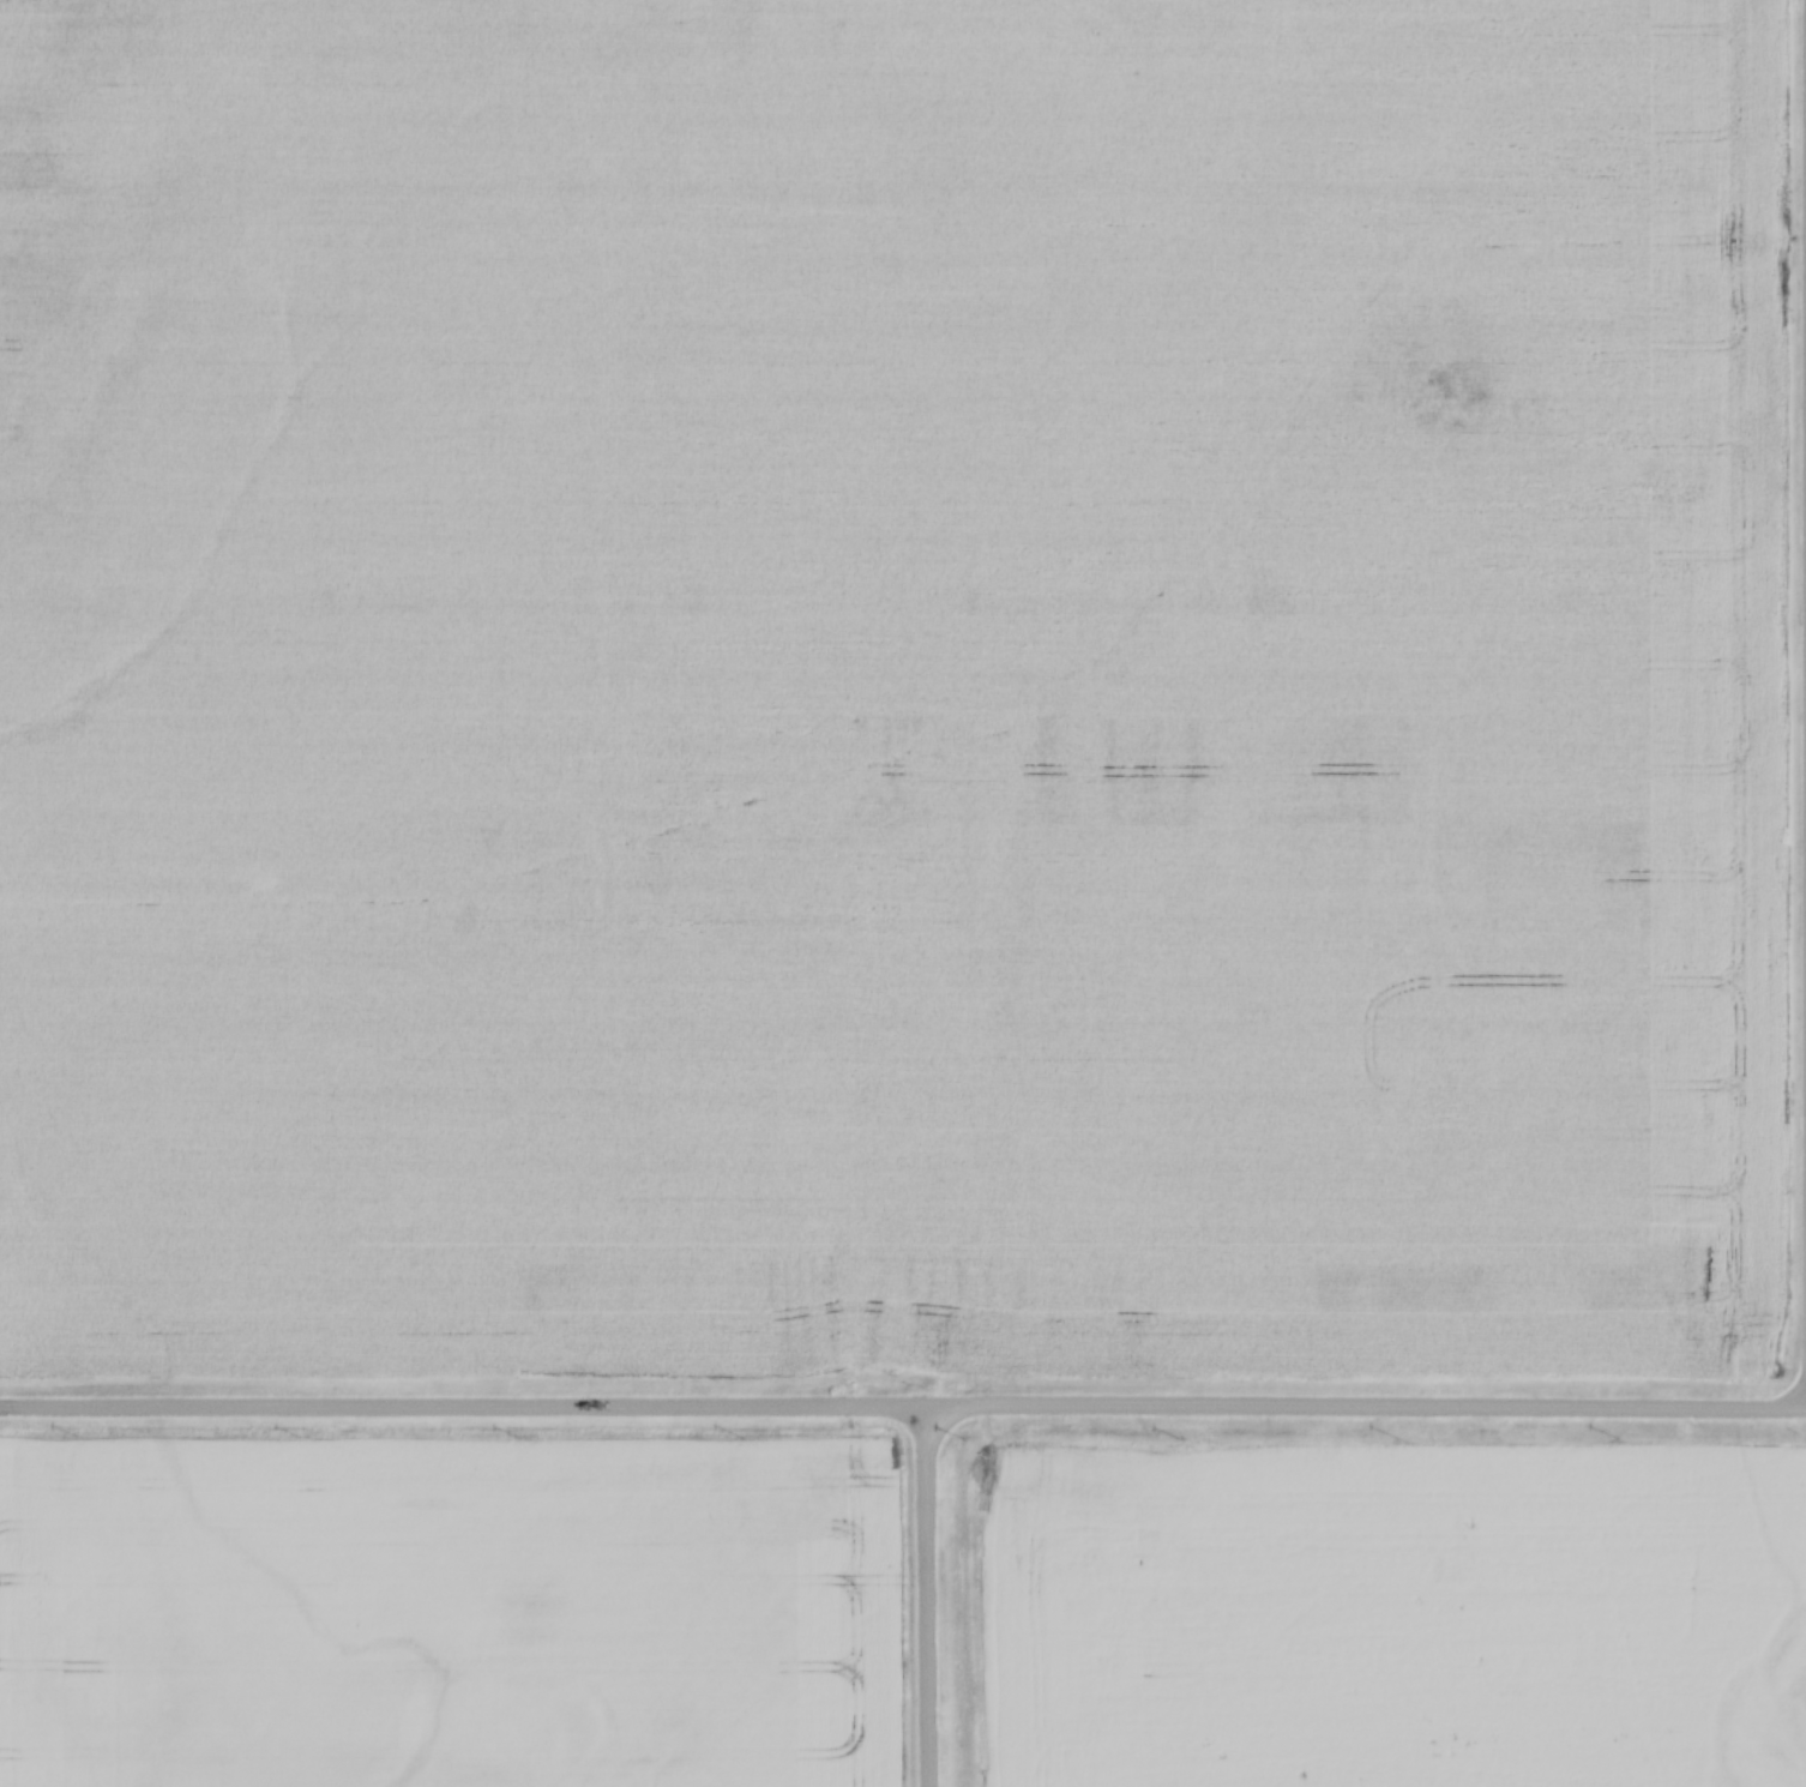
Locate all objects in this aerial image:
road: (903, 1404)
road: (929, 1596)

